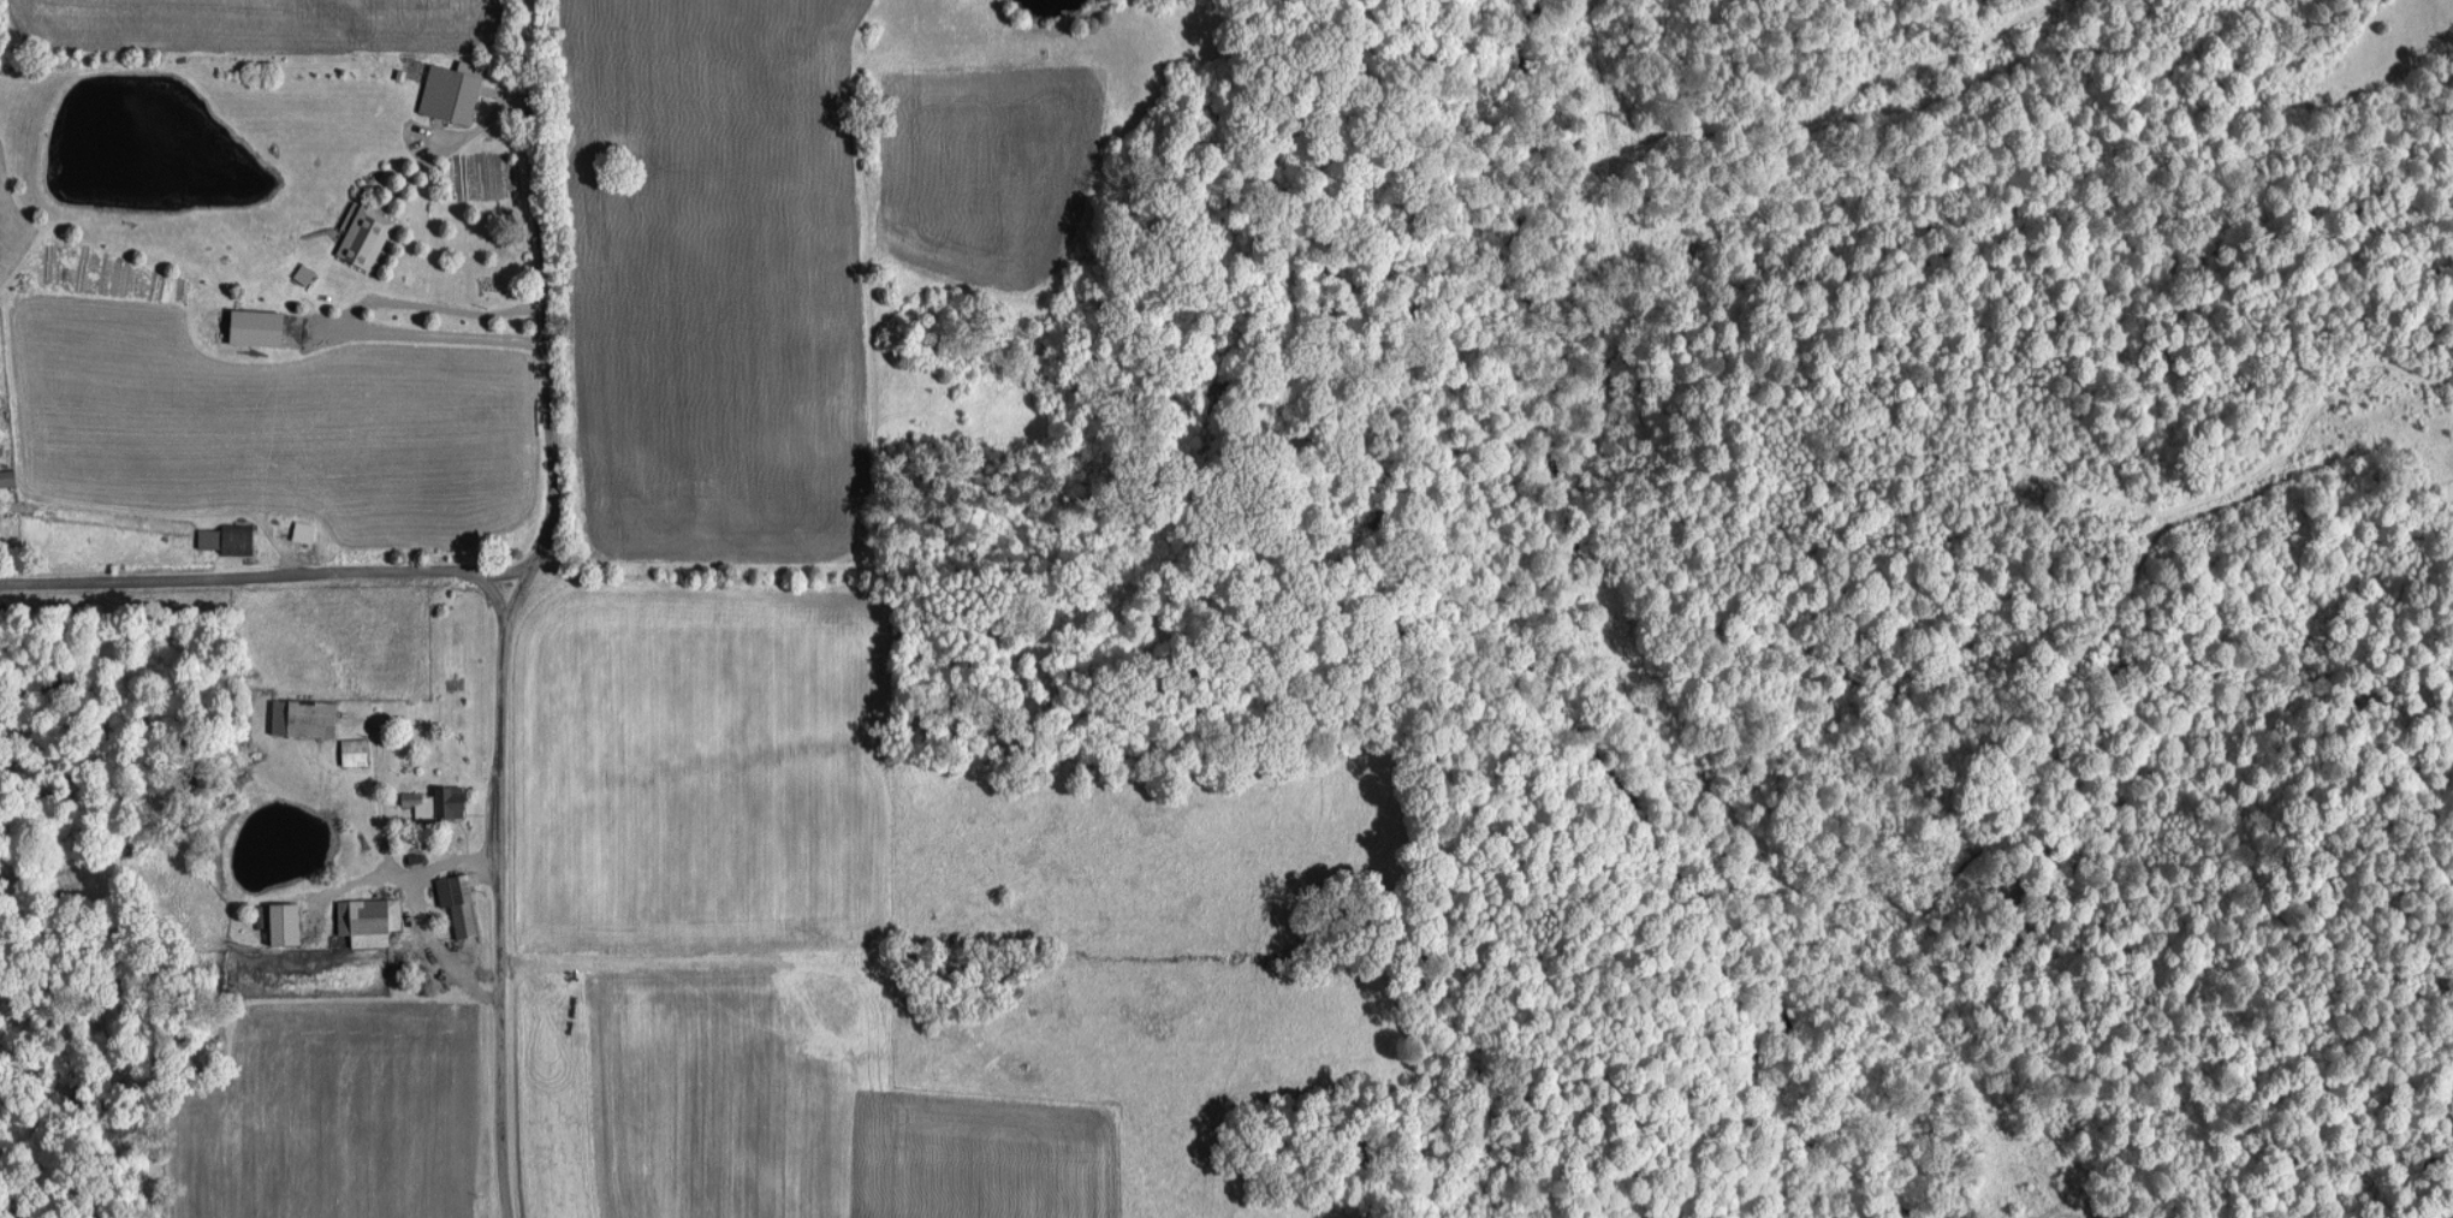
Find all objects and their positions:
building: (453, 90)
building: (367, 236)
road: (352, 314)
building: (260, 327)
building: (8, 476)
building: (304, 530)
building: (230, 537)
road: (267, 574)
road: (494, 593)
road: (512, 605)
building: (305, 715)
building: (356, 750)
building: (438, 800)
road: (405, 872)
building: (461, 901)
building: (370, 919)
building: (287, 921)
road: (436, 947)

